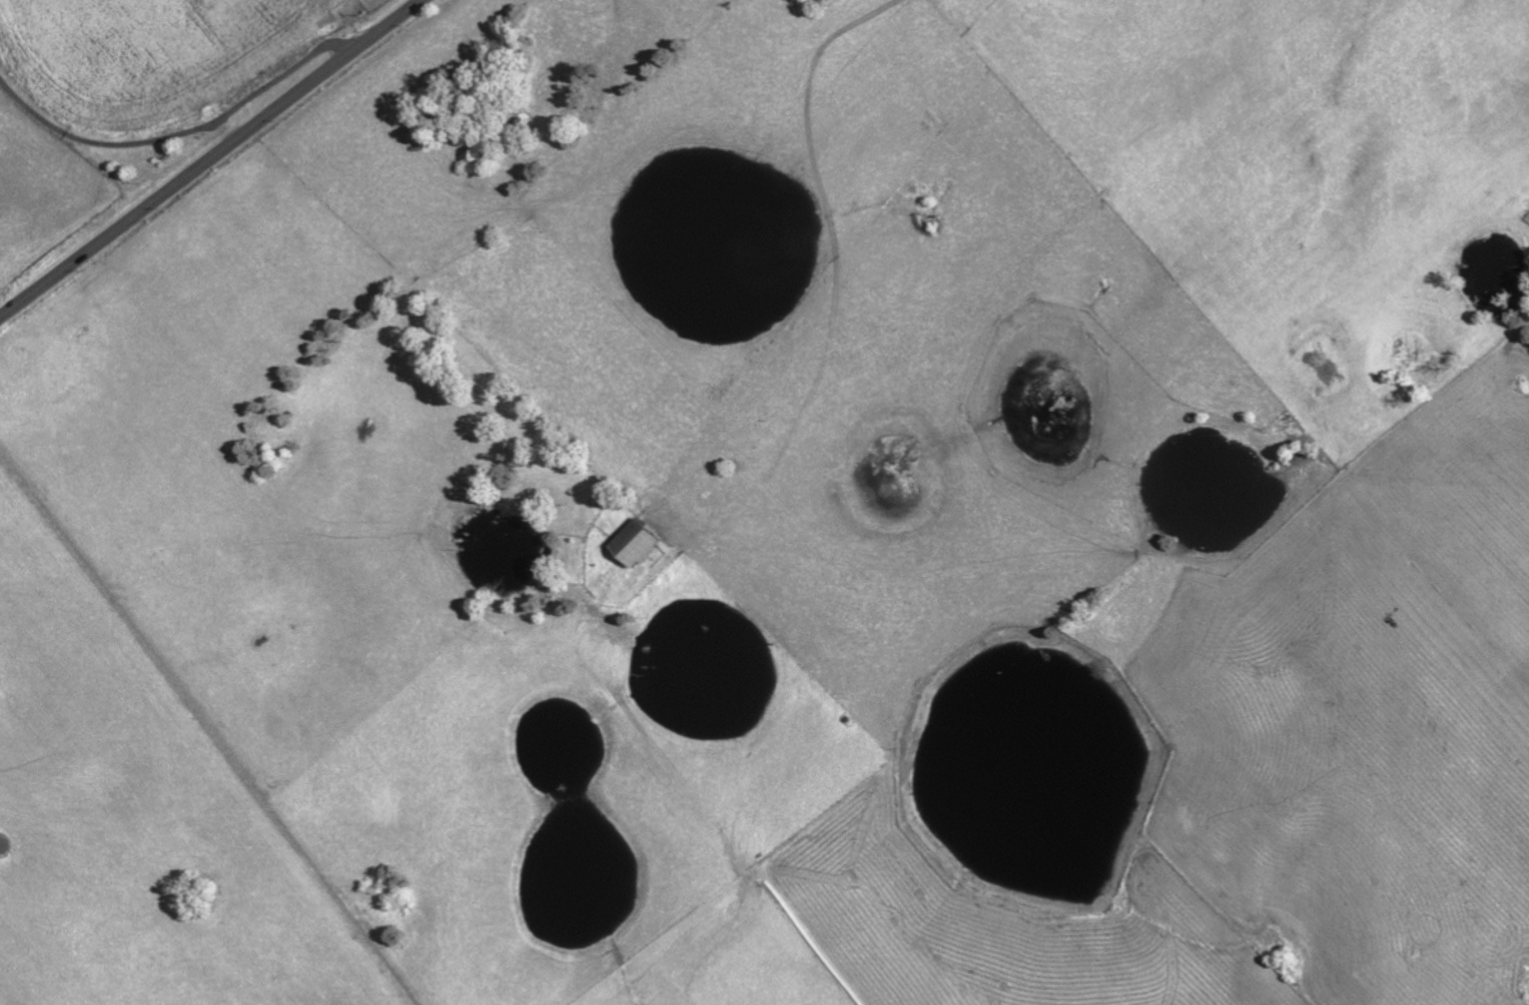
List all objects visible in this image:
road: (195, 130)
road: (210, 157)
building: (638, 544)

